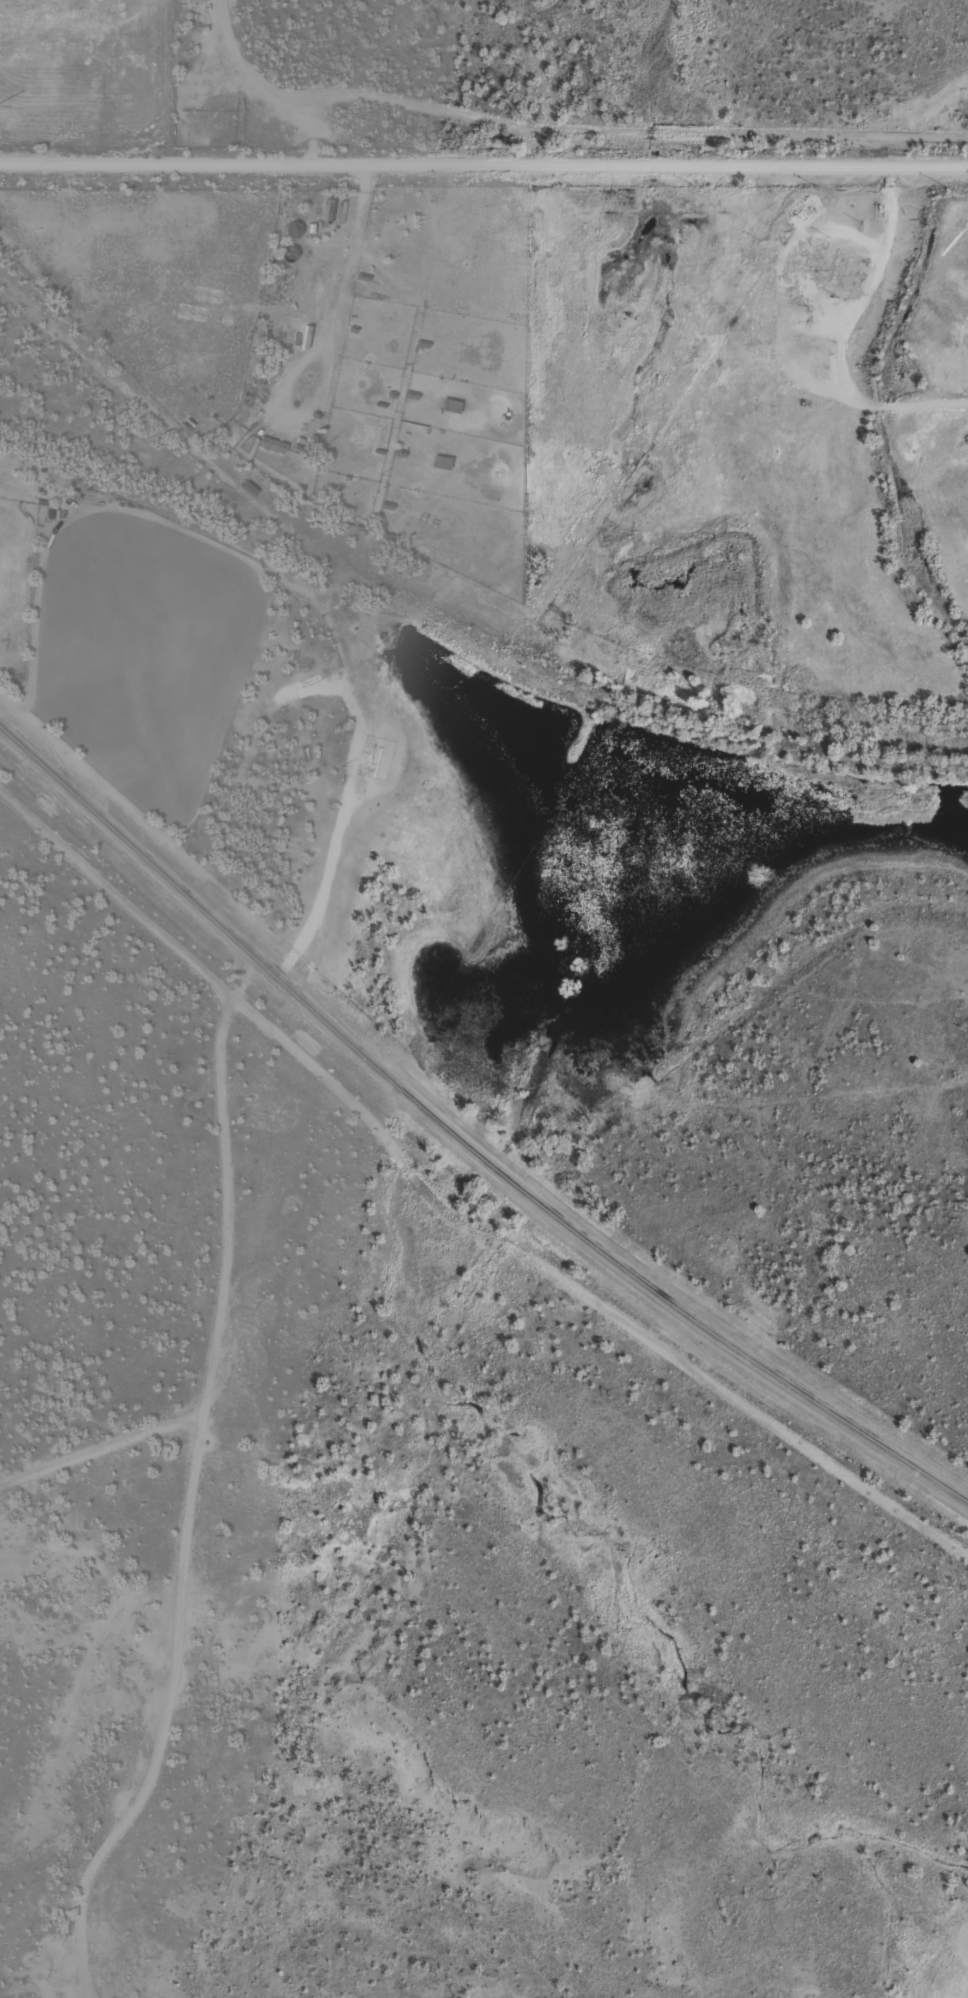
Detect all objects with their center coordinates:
road: (483, 162)
road: (328, 353)
railway: (471, 602)
road: (462, 1144)

